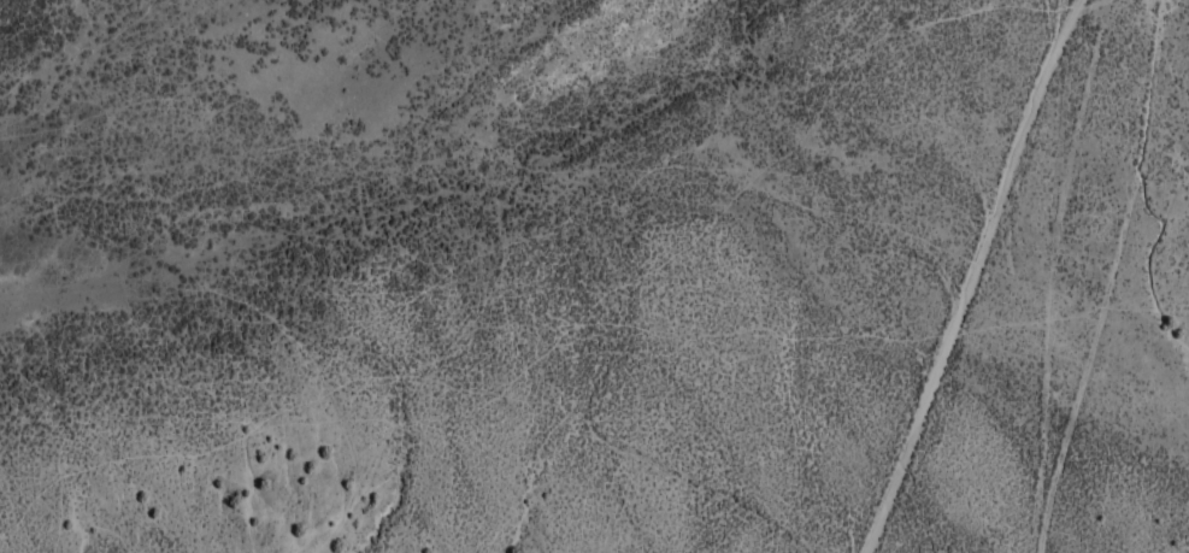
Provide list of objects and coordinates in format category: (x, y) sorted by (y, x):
road: (1075, 8)
river: (424, 211)
road: (965, 283)

